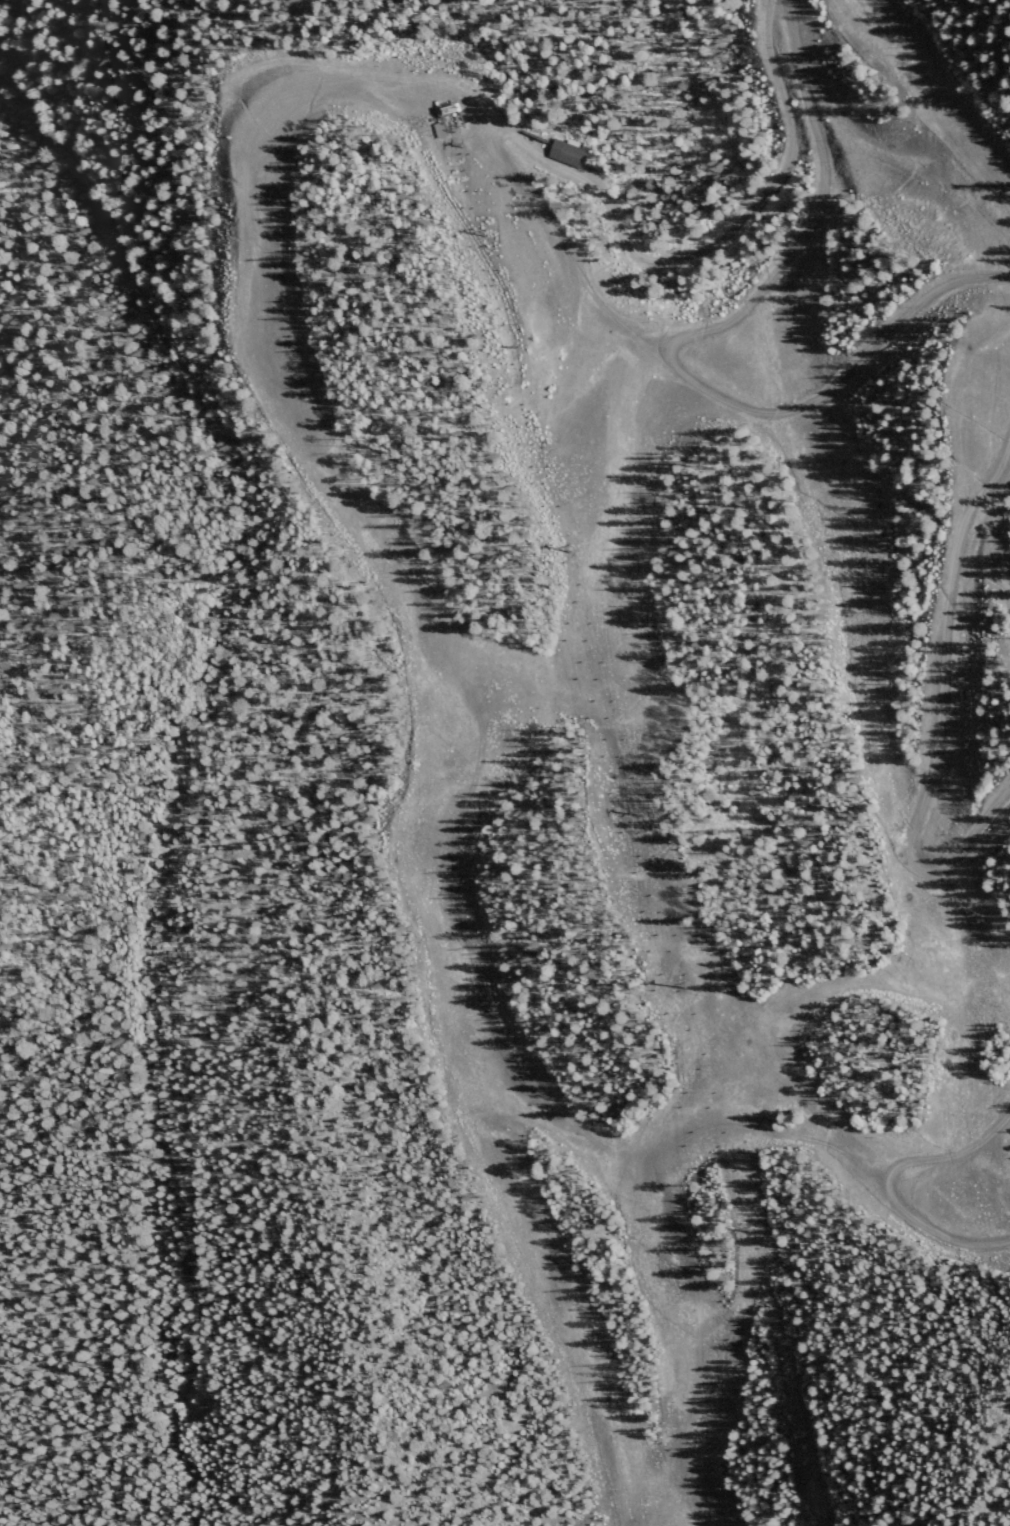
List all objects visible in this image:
road: (773, 21)
building: (440, 129)
aerialway pylon: (452, 147)
building: (569, 152)
aerialway pylon: (476, 237)
road: (702, 250)
road: (688, 332)
aerialway pylon: (506, 348)
road: (834, 387)
road: (996, 457)
road: (996, 484)
aerialway pylon: (560, 550)
road: (455, 666)
road: (939, 736)
ski resort: (514, 792)
aerialway pylon: (631, 814)
aerialway pylon: (677, 986)
road: (211, 992)
road: (803, 994)
road: (886, 1178)
aerialway pylon: (742, 1228)
aerialway pylon: (798, 1439)

